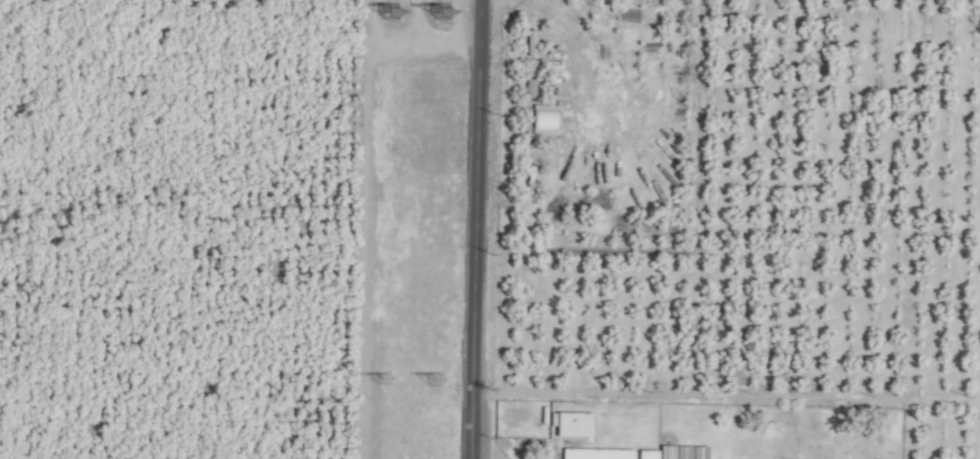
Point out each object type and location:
power tower: (390, 12)
power tower: (441, 12)
road: (478, 35)
building: (537, 120)
crop: (490, 229)
road: (473, 264)
power tower: (382, 379)
power tower: (433, 380)
building: (568, 424)
building: (593, 454)
building: (643, 454)

